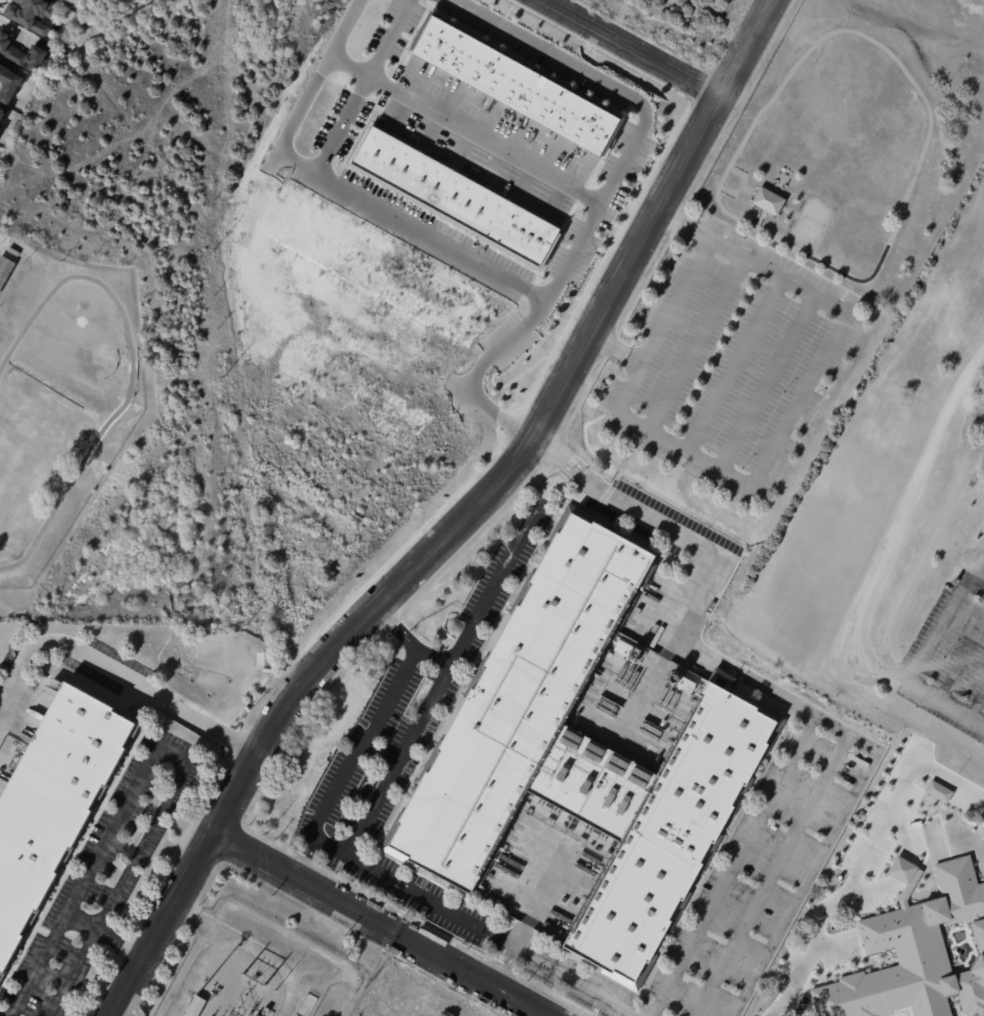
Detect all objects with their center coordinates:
building: (64, 1)
building: (30, 13)
road: (636, 47)
road: (750, 47)
building: (25, 53)
building: (516, 84)
building: (10, 85)
road: (306, 97)
building: (2, 114)
road: (466, 127)
building: (0, 132)
building: (454, 190)
building: (773, 200)
road: (692, 217)
road: (685, 228)
building: (5, 269)
road: (532, 289)
road: (834, 335)
road: (481, 372)
road: (901, 525)
road: (423, 559)
road: (915, 661)
road: (117, 674)
road: (770, 685)
road: (3, 708)
building: (583, 754)
road: (350, 756)
road: (145, 759)
building: (939, 791)
building: (55, 803)
road: (331, 841)
road: (867, 855)
road: (361, 859)
road: (383, 923)
building: (915, 954)
road: (80, 956)
road: (496, 961)
power substation: (251, 968)
building: (197, 1006)
building: (268, 1011)

